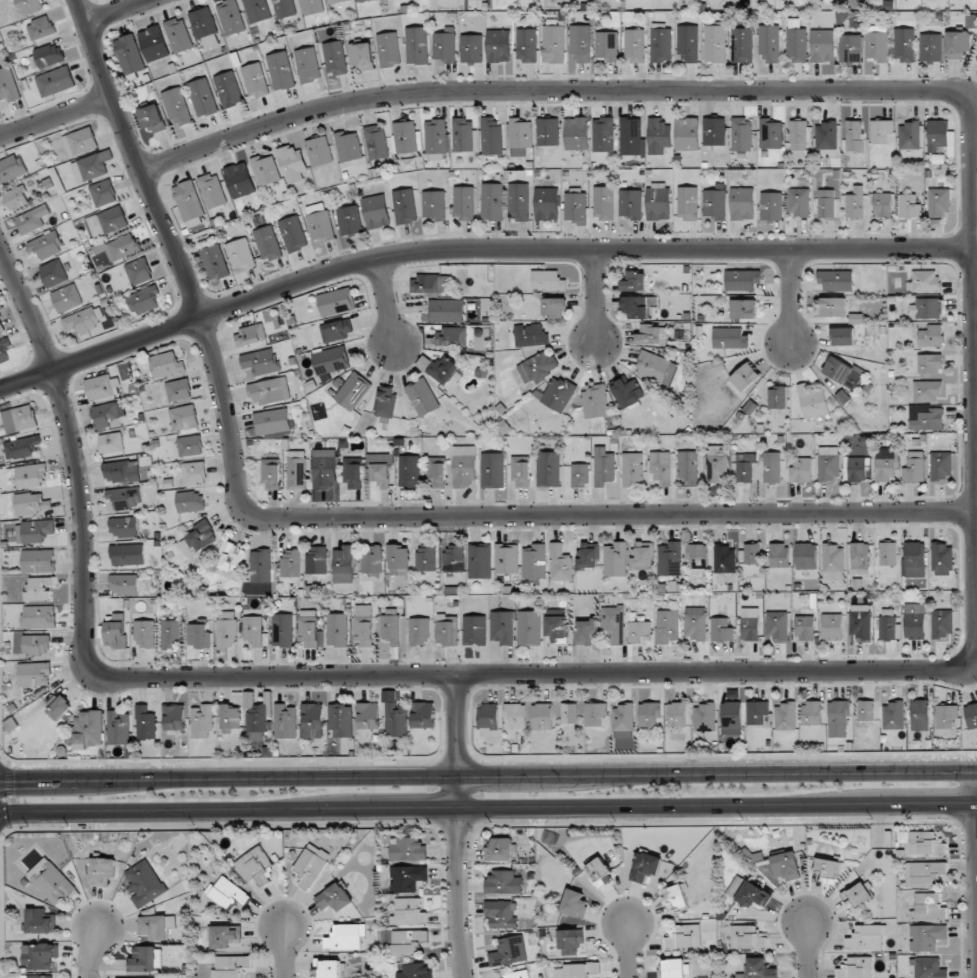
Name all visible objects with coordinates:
building: (362, 0)
building: (336, 1)
building: (31, 6)
building: (311, 6)
building: (284, 8)
building: (257, 10)
road: (112, 11)
building: (230, 17)
building: (205, 27)
building: (40, 28)
building: (178, 35)
park: (1, 40)
building: (796, 42)
building: (153, 43)
building: (579, 43)
building: (661, 43)
building: (715, 43)
building: (876, 43)
building: (553, 44)
building: (687, 44)
building: (742, 44)
building: (769, 44)
building: (957, 44)
building: (417, 45)
building: (444, 45)
building: (526, 45)
building: (607, 45)
building: (634, 45)
building: (822, 45)
building: (904, 45)
building: (498, 46)
building: (931, 47)
building: (471, 48)
building: (850, 48)
building: (388, 49)
building: (129, 54)
building: (49, 55)
building: (362, 55)
building: (335, 58)
building: (976, 60)
building: (308, 65)
building: (281, 70)
building: (255, 80)
building: (55, 81)
building: (8, 85)
building: (228, 89)
road: (543, 95)
building: (202, 97)
building: (177, 107)
road: (53, 116)
building: (152, 118)
building: (881, 131)
building: (547, 132)
building: (576, 133)
building: (714, 133)
building: (770, 133)
building: (462, 134)
building: (603, 134)
building: (687, 134)
building: (741, 134)
building: (937, 134)
building: (798, 135)
building: (826, 135)
building: (909, 135)
building: (520, 136)
building: (630, 136)
building: (658, 136)
building: (854, 136)
building: (405, 137)
building: (491, 137)
building: (435, 139)
building: (951, 140)
building: (80, 141)
building: (376, 142)
building: (348, 146)
building: (319, 151)
building: (293, 164)
building: (94, 165)
building: (11, 168)
building: (266, 170)
building: (240, 179)
building: (212, 190)
building: (103, 193)
building: (16, 198)
building: (492, 201)
building: (658, 201)
building: (798, 201)
building: (938, 201)
building: (188, 202)
building: (519, 202)
building: (463, 203)
building: (603, 203)
building: (630, 203)
building: (687, 203)
building: (742, 203)
building: (826, 203)
building: (855, 203)
building: (546, 204)
building: (714, 204)
building: (433, 205)
building: (575, 205)
building: (882, 205)
building: (404, 206)
building: (771, 206)
building: (909, 206)
building: (376, 211)
building: (32, 219)
building: (349, 220)
building: (107, 221)
building: (319, 222)
building: (293, 234)
building: (267, 243)
building: (46, 245)
building: (118, 247)
road: (472, 249)
building: (240, 254)
road: (177, 258)
building: (215, 262)
building: (140, 271)
building: (54, 273)
building: (742, 280)
building: (836, 280)
building: (547, 281)
building: (633, 281)
building: (924, 281)
building: (431, 283)
road: (593, 297)
building: (66, 298)
road: (789, 298)
building: (143, 300)
building: (336, 301)
road: (385, 302)
building: (833, 306)
building: (554, 307)
building: (636, 307)
building: (743, 308)
building: (926, 308)
building: (446, 310)
building: (84, 319)
building: (1, 327)
building: (336, 330)
building: (650, 333)
building: (530, 334)
building: (250, 335)
building: (452, 336)
building: (842, 336)
building: (931, 336)
building: (729, 338)
road: (971, 348)
building: (4, 349)
building: (331, 360)
building: (261, 361)
building: (930, 363)
building: (166, 364)
building: (656, 366)
building: (537, 367)
building: (439, 368)
building: (843, 372)
building: (745, 376)
building: (99, 387)
building: (178, 390)
building: (269, 391)
building: (352, 391)
building: (627, 391)
building: (926, 391)
building: (558, 393)
building: (422, 397)
building: (778, 397)
building: (596, 401)
building: (385, 402)
building: (812, 402)
building: (105, 414)
building: (184, 417)
building: (19, 418)
building: (927, 419)
building: (272, 421)
building: (111, 442)
building: (190, 445)
building: (22, 446)
building: (716, 463)
building: (828, 463)
building: (885, 464)
building: (464, 466)
building: (604, 466)
building: (660, 467)
building: (688, 467)
building: (745, 467)
building: (771, 467)
building: (914, 467)
building: (940, 467)
building: (324, 468)
building: (380, 469)
building: (548, 469)
building: (632, 469)
building: (801, 469)
building: (856, 469)
building: (296, 470)
building: (409, 470)
building: (492, 470)
building: (121, 471)
building: (522, 471)
building: (437, 472)
building: (194, 473)
building: (271, 473)
building: (353, 473)
building: (579, 475)
building: (30, 476)
building: (125, 497)
building: (190, 501)
building: (32, 504)
road: (615, 518)
building: (124, 527)
building: (33, 531)
building: (198, 539)
building: (750, 553)
building: (887, 553)
building: (127, 554)
building: (642, 555)
building: (698, 555)
building: (779, 555)
building: (589, 556)
building: (806, 556)
building: (426, 557)
building: (859, 557)
building: (231, 558)
building: (453, 558)
building: (506, 558)
building: (399, 559)
building: (615, 559)
building: (724, 559)
building: (915, 559)
building: (942, 559)
building: (37, 560)
building: (317, 560)
building: (670, 560)
building: (534, 561)
building: (833, 561)
building: (479, 562)
building: (291, 563)
building: (560, 563)
building: (343, 564)
building: (260, 566)
building: (123, 584)
building: (40, 589)
building: (38, 617)
building: (859, 621)
building: (914, 621)
building: (613, 623)
building: (694, 623)
building: (749, 624)
building: (777, 624)
building: (941, 624)
building: (363, 625)
building: (888, 625)
building: (667, 626)
building: (832, 626)
building: (502, 627)
building: (390, 628)
building: (529, 628)
building: (804, 628)
building: (226, 629)
building: (336, 629)
building: (474, 629)
building: (556, 629)
building: (253, 630)
building: (282, 630)
building: (309, 630)
building: (447, 630)
building: (721, 630)
building: (116, 631)
building: (419, 631)
building: (639, 631)
building: (586, 632)
building: (145, 634)
building: (171, 634)
building: (198, 635)
building: (36, 644)
road: (975, 663)
building: (34, 674)
road: (314, 678)
building: (60, 707)
building: (866, 710)
building: (756, 712)
building: (838, 712)
building: (569, 713)
building: (812, 713)
building: (423, 714)
building: (649, 714)
building: (677, 714)
building: (368, 715)
building: (515, 715)
building: (596, 715)
building: (893, 715)
building: (919, 715)
building: (971, 715)
building: (394, 716)
building: (488, 716)
building: (542, 716)
building: (785, 716)
building: (174, 717)
building: (230, 717)
building: (255, 717)
building: (704, 717)
building: (731, 718)
building: (622, 719)
building: (946, 719)
building: (341, 720)
building: (285, 721)
building: (312, 721)
building: (202, 722)
building: (145, 723)
building: (118, 728)
building: (89, 729)
road: (488, 780)
traffic signals: (14, 784)
road: (488, 809)
road: (455, 827)
building: (925, 844)
building: (407, 849)
building: (499, 850)
building: (255, 865)
building: (311, 865)
building: (645, 866)
building: (786, 866)
building: (826, 866)
building: (101, 871)
building: (599, 873)
building: (924, 873)
road: (974, 875)
building: (407, 878)
building: (50, 881)
building: (144, 883)
building: (503, 883)
building: (227, 893)
building: (857, 894)
building: (753, 895)
building: (678, 897)
building: (334, 898)
building: (575, 904)
building: (928, 907)
building: (408, 912)
building: (501, 914)
building: (40, 921)
building: (156, 926)
building: (224, 936)
building: (345, 937)
building: (685, 937)
building: (866, 937)
building: (927, 937)
building: (746, 938)
building: (569, 941)
building: (408, 942)
road: (805, 950)
road: (281, 951)
building: (508, 951)
road: (623, 951)
road: (90, 952)
building: (143, 959)
building: (231, 966)
building: (329, 968)
building: (674, 968)
building: (857, 968)
building: (928, 968)
building: (758, 969)
building: (575, 970)
building: (416, 971)
building: (517, 974)
building: (37, 976)
building: (140, 977)

